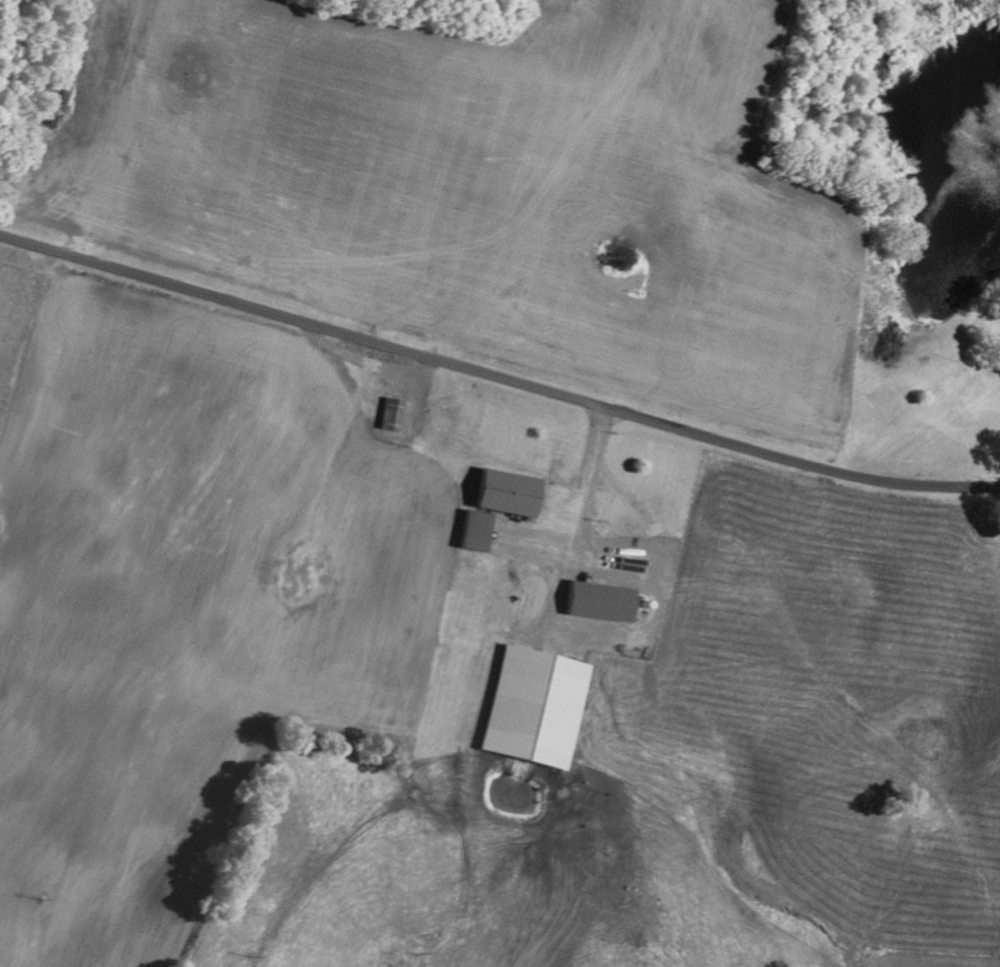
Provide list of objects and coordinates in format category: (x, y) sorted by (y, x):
road: (497, 374)
building: (393, 413)
building: (507, 491)
building: (475, 529)
building: (600, 600)
road: (885, 810)

